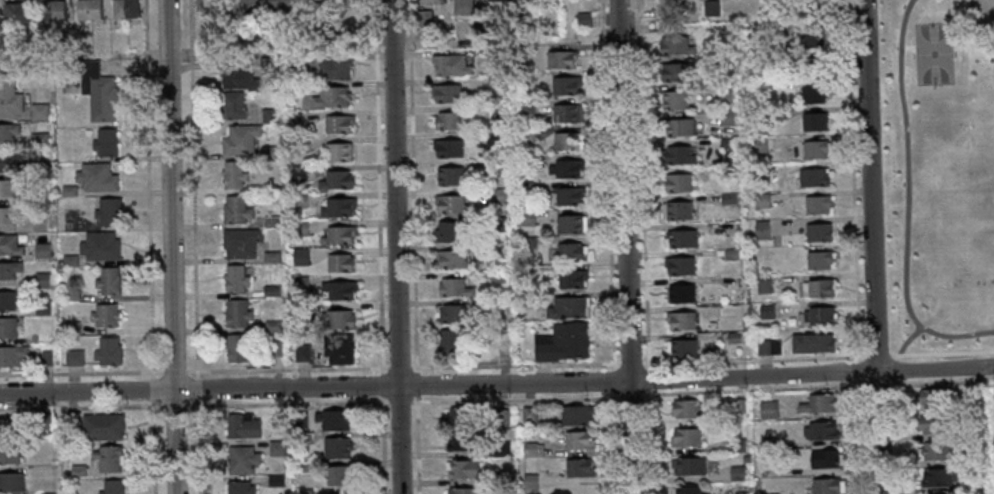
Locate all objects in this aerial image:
building: (430, 1)
building: (352, 3)
building: (315, 4)
building: (280, 5)
building: (208, 6)
building: (245, 6)
building: (462, 6)
building: (686, 6)
building: (710, 8)
building: (87, 9)
building: (124, 9)
building: (51, 10)
building: (15, 12)
building: (421, 19)
building: (582, 19)
building: (476, 30)
building: (779, 32)
building: (810, 38)
building: (674, 46)
building: (494, 52)
park: (934, 52)
building: (559, 59)
building: (295, 61)
building: (700, 61)
building: (755, 61)
building: (267, 64)
building: (450, 65)
building: (812, 66)
building: (331, 69)
building: (672, 72)
building: (236, 78)
building: (494, 82)
building: (565, 86)
building: (97, 92)
building: (445, 93)
building: (724, 93)
building: (812, 94)
building: (9, 96)
building: (330, 96)
building: (674, 99)
building: (231, 105)
building: (523, 106)
building: (37, 112)
building: (494, 112)
building: (564, 113)
building: (268, 115)
building: (726, 118)
building: (448, 120)
building: (814, 121)
building: (337, 123)
building: (677, 127)
building: (8, 131)
building: (86, 132)
building: (525, 134)
building: (238, 139)
building: (38, 140)
building: (565, 141)
building: (104, 142)
building: (493, 142)
building: (726, 143)
building: (296, 145)
building: (758, 145)
building: (446, 148)
building: (814, 149)
building: (338, 151)
building: (268, 153)
building: (678, 155)
building: (14, 161)
building: (524, 163)
building: (494, 167)
building: (565, 168)
building: (728, 171)
park: (944, 171)
building: (297, 173)
building: (232, 174)
building: (759, 174)
building: (449, 176)
building: (96, 177)
building: (811, 178)
building: (334, 180)
building: (677, 182)
building: (7, 187)
building: (525, 187)
building: (67, 191)
building: (495, 196)
building: (569, 196)
building: (727, 198)
building: (298, 200)
building: (760, 201)
building: (450, 204)
building: (815, 204)
building: (336, 207)
building: (235, 210)
building: (677, 210)
building: (106, 211)
building: (5, 215)
building: (523, 218)
building: (38, 221)
building: (270, 222)
building: (568, 224)
building: (299, 228)
building: (763, 229)
building: (443, 232)
building: (817, 232)
building: (337, 235)
building: (680, 238)
building: (239, 242)
building: (526, 242)
building: (9, 245)
building: (99, 246)
road: (171, 246)
road: (396, 246)
road: (872, 246)
road: (625, 247)
building: (41, 250)
building: (497, 251)
building: (570, 251)
building: (730, 254)
building: (270, 256)
building: (299, 256)
building: (449, 258)
building: (68, 260)
building: (817, 260)
building: (338, 262)
building: (678, 265)
building: (525, 269)
building: (8, 270)
building: (496, 277)
building: (234, 278)
building: (571, 279)
building: (41, 280)
building: (107, 281)
building: (299, 284)
building: (762, 284)
building: (453, 288)
building: (817, 288)
building: (338, 289)
building: (271, 291)
building: (680, 293)
building: (70, 295)
building: (8, 300)
building: (526, 300)
building: (487, 305)
building: (41, 307)
building: (567, 307)
building: (300, 309)
building: (765, 311)
building: (236, 314)
building: (450, 314)
building: (103, 315)
building: (817, 316)
building: (337, 319)
building: (679, 320)
building: (271, 326)
building: (7, 327)
building: (70, 328)
building: (732, 337)
building: (562, 342)
building: (449, 343)
building: (811, 343)
building: (234, 347)
building: (767, 347)
building: (337, 348)
building: (682, 348)
building: (275, 349)
building: (106, 351)
building: (301, 353)
building: (11, 355)
building: (41, 357)
building: (73, 358)
road: (497, 384)
building: (976, 394)
building: (934, 398)
building: (817, 403)
building: (685, 409)
building: (767, 410)
building: (527, 414)
building: (500, 415)
building: (575, 415)
building: (459, 418)
building: (275, 419)
building: (69, 420)
building: (300, 420)
building: (332, 420)
building: (45, 421)
building: (931, 424)
building: (9, 426)
building: (101, 427)
building: (241, 427)
building: (819, 431)
building: (525, 434)
building: (303, 438)
building: (684, 438)
building: (577, 440)
building: (463, 441)
building: (767, 443)
building: (737, 445)
building: (275, 448)
building: (335, 448)
building: (500, 449)
building: (531, 450)
road: (150, 451)
building: (934, 451)
building: (8, 455)
building: (106, 458)
building: (745, 459)
building: (823, 459)
building: (973, 459)
building: (241, 460)
building: (688, 466)
building: (303, 467)
building: (576, 468)
building: (464, 470)
building: (77, 471)
building: (736, 474)
building: (339, 476)
building: (936, 477)
building: (500, 480)
building: (274, 481)
building: (10, 482)
building: (974, 483)
building: (529, 484)
building: (825, 486)
building: (111, 487)
building: (239, 488)
building: (687, 490)
building: (304, 491)
building: (461, 491)

